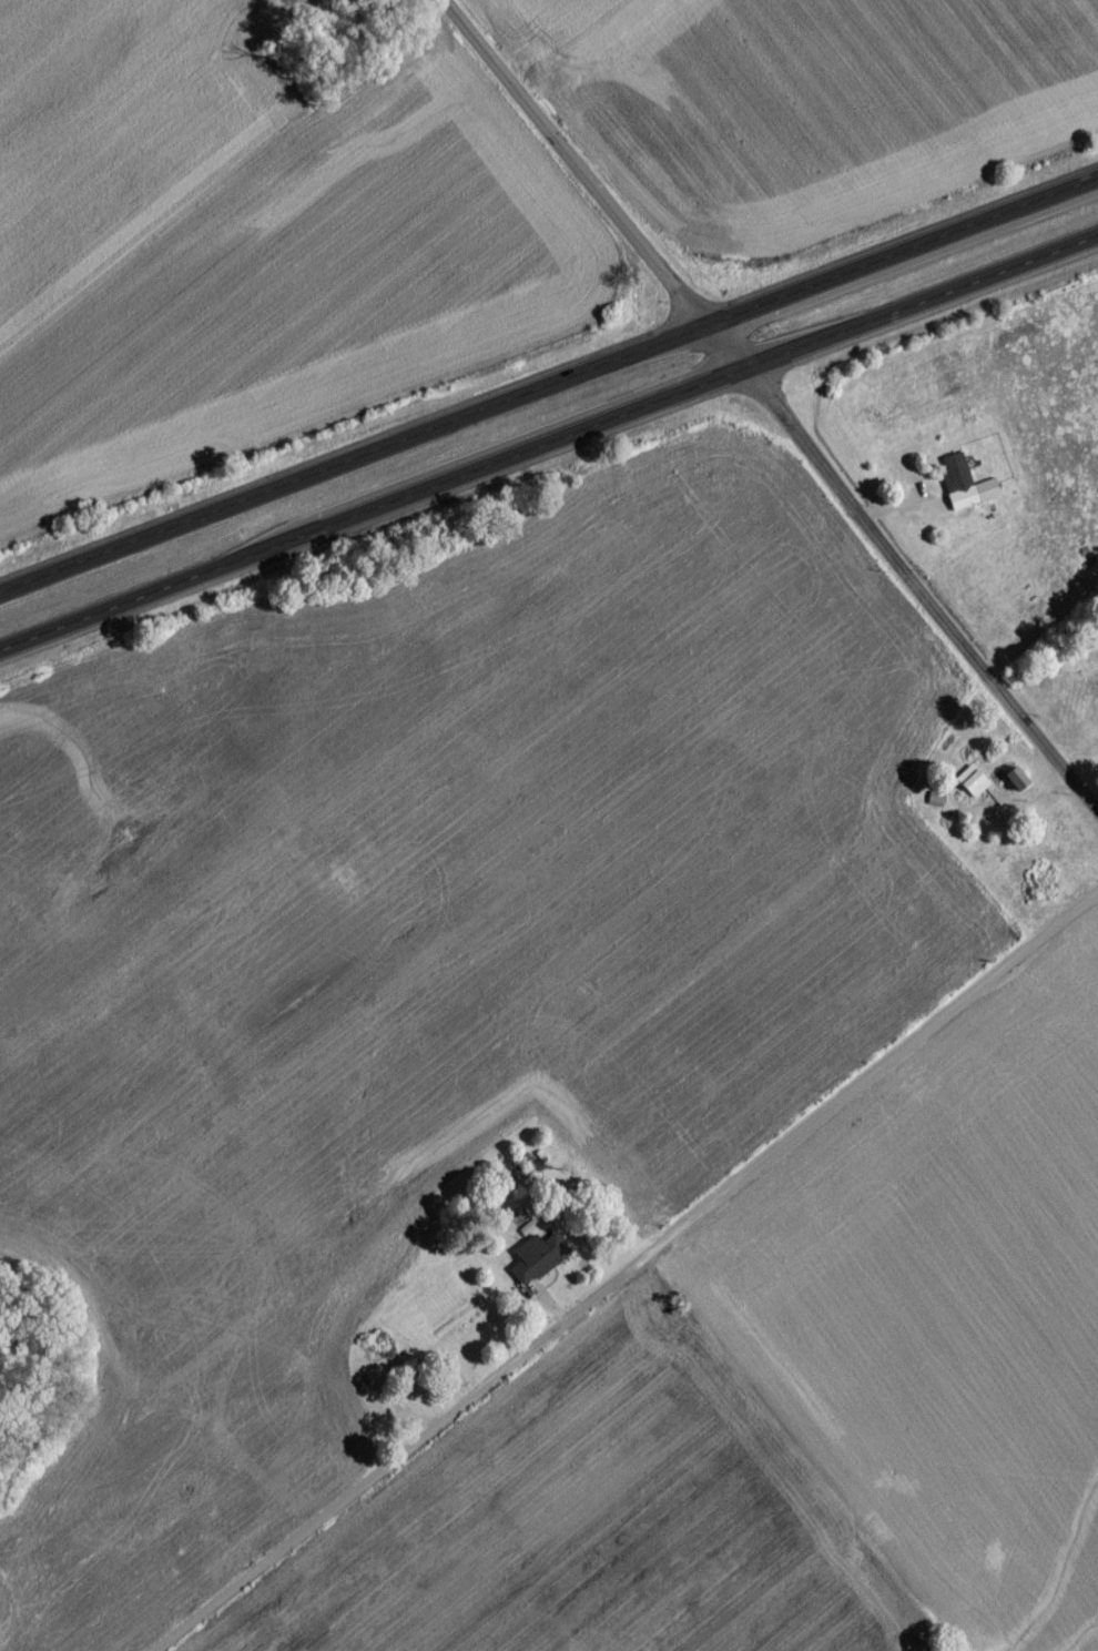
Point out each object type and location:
road: (590, 188)
road: (549, 377)
road: (550, 442)
building: (953, 477)
building: (984, 497)
road: (921, 596)
building: (1006, 781)
road: (630, 1274)

